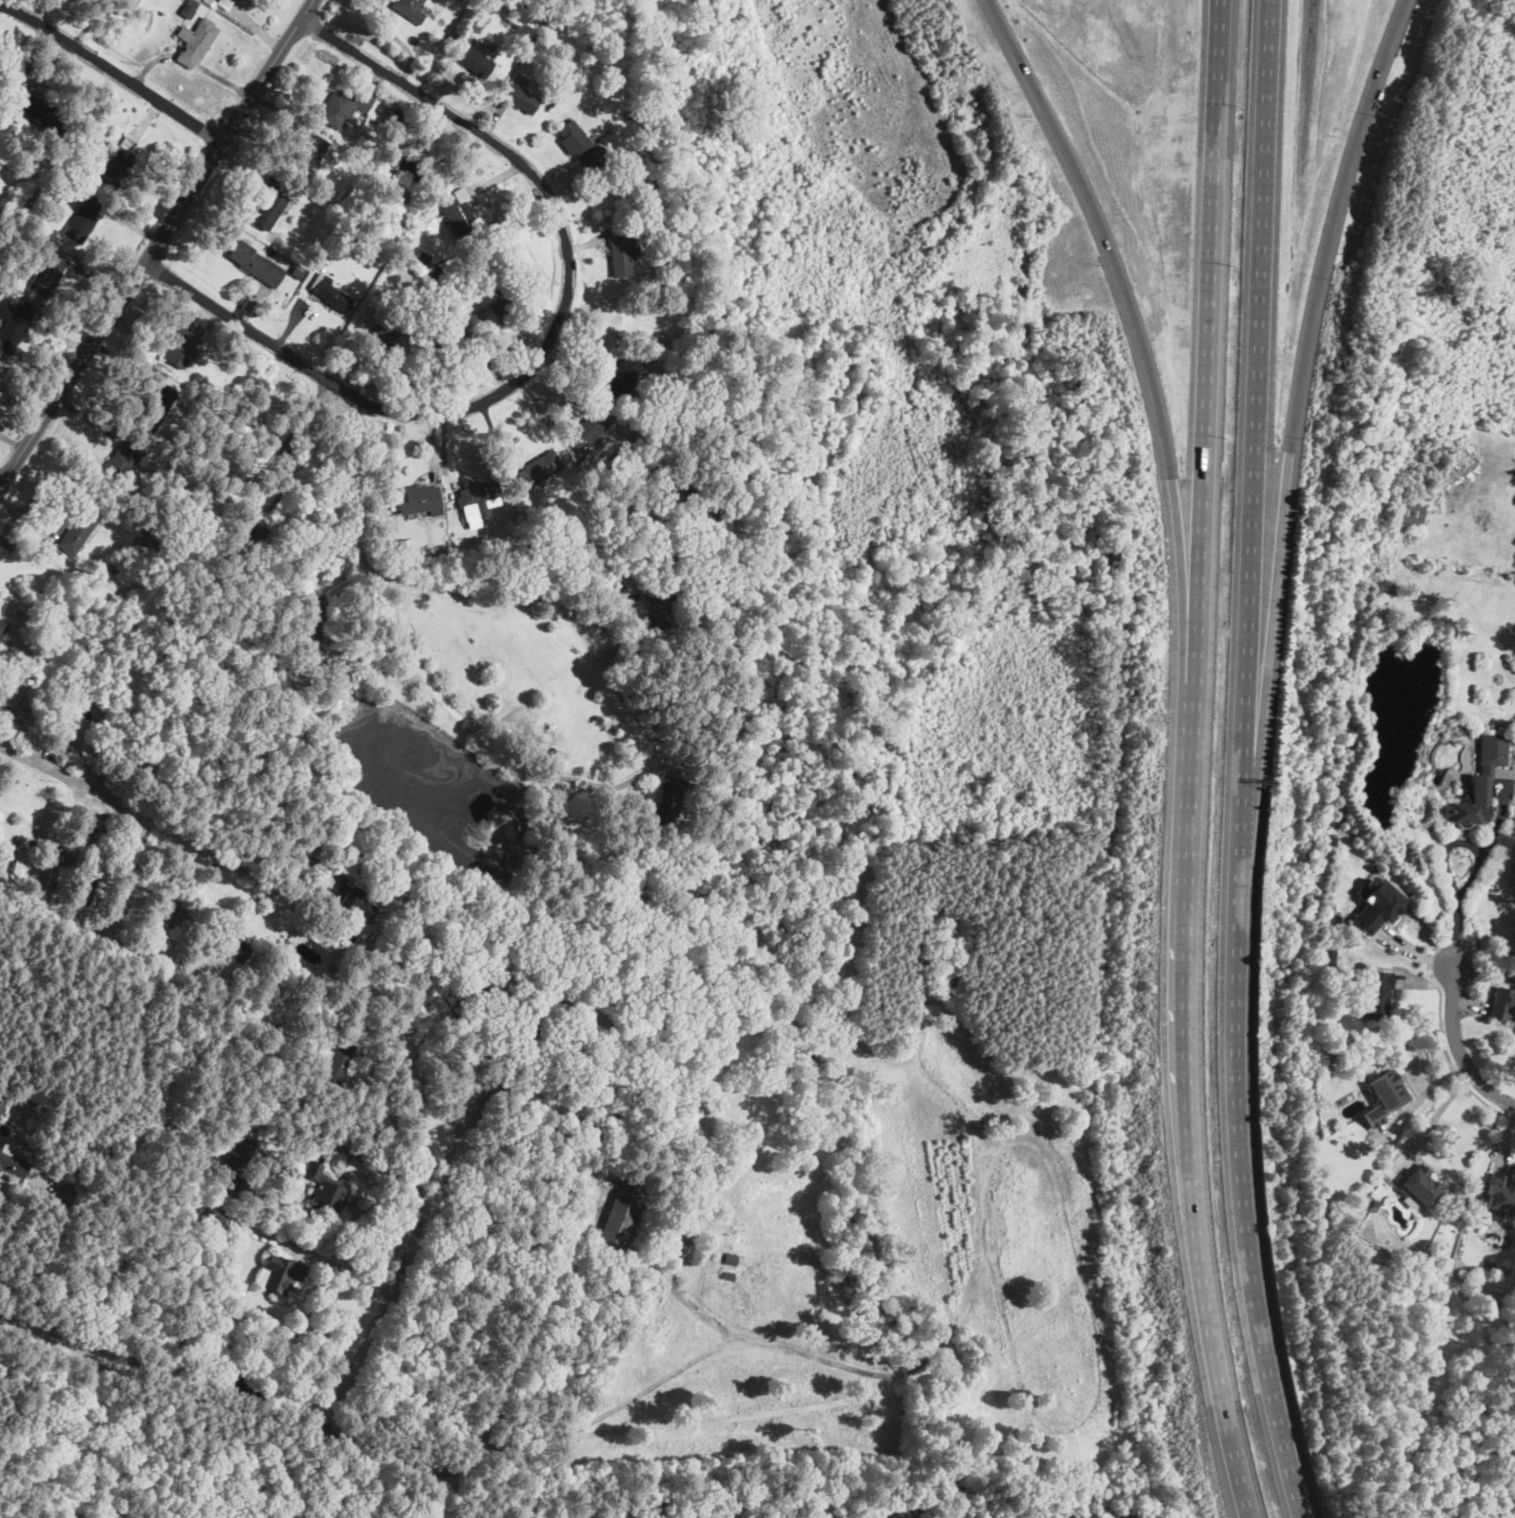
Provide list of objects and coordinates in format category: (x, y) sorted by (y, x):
building: (210, 2)
building: (225, 3)
building: (189, 9)
building: (409, 10)
building: (470, 34)
building: (197, 42)
building: (476, 62)
road: (110, 69)
building: (553, 69)
building: (522, 99)
building: (344, 106)
building: (630, 112)
building: (41, 114)
building: (394, 118)
building: (612, 128)
building: (581, 145)
building: (81, 152)
building: (309, 153)
building: (467, 164)
building: (119, 166)
building: (13, 167)
building: (415, 170)
building: (280, 194)
building: (29, 201)
building: (381, 201)
building: (458, 211)
building: (314, 212)
building: (262, 217)
building: (83, 220)
building: (656, 223)
building: (352, 235)
road: (157, 239)
building: (375, 248)
building: (418, 254)
building: (620, 255)
building: (257, 263)
building: (672, 264)
building: (49, 271)
building: (435, 272)
building: (297, 273)
building: (330, 293)
road: (1124, 296)
building: (506, 312)
building: (13, 324)
building: (391, 331)
building: (460, 334)
road: (545, 345)
building: (180, 347)
building: (624, 378)
road: (1300, 381)
building: (159, 405)
road: (294, 429)
building: (589, 431)
building: (211, 447)
building: (119, 463)
building: (586, 465)
building: (539, 471)
building: (186, 473)
road: (353, 484)
building: (418, 500)
building: (479, 500)
building: (1410, 513)
building: (639, 530)
building: (77, 531)
building: (248, 531)
building: (543, 532)
building: (163, 536)
building: (405, 548)
building: (520, 550)
building: (658, 609)
building: (314, 615)
building: (3, 627)
building: (18, 666)
building: (9, 673)
building: (24, 705)
building: (734, 731)
building: (74, 738)
road: (1192, 761)
road: (1242, 762)
road: (80, 778)
building: (144, 778)
building: (155, 778)
road: (632, 780)
building: (1480, 782)
building: (665, 806)
building: (89, 828)
building: (1332, 839)
building: (20, 855)
building: (234, 862)
building: (55, 873)
building: (89, 887)
building: (349, 901)
building: (1378, 906)
building: (126, 909)
road: (1457, 909)
road: (466, 911)
building: (162, 923)
road: (83, 926)
building: (232, 942)
building: (1375, 995)
building: (1502, 1002)
road: (1458, 1043)
building: (337, 1062)
road: (1455, 1068)
road: (416, 1077)
building: (1387, 1090)
building: (2, 1101)
road: (1438, 1109)
road: (571, 1114)
building: (1371, 1116)
building: (237, 1157)
building: (14, 1165)
road: (391, 1174)
building: (42, 1186)
building: (1421, 1187)
building: (325, 1189)
building: (1500, 1194)
building: (623, 1210)
road: (16, 1213)
road: (339, 1265)
building: (281, 1272)
road: (329, 1408)
building: (896, 1514)

